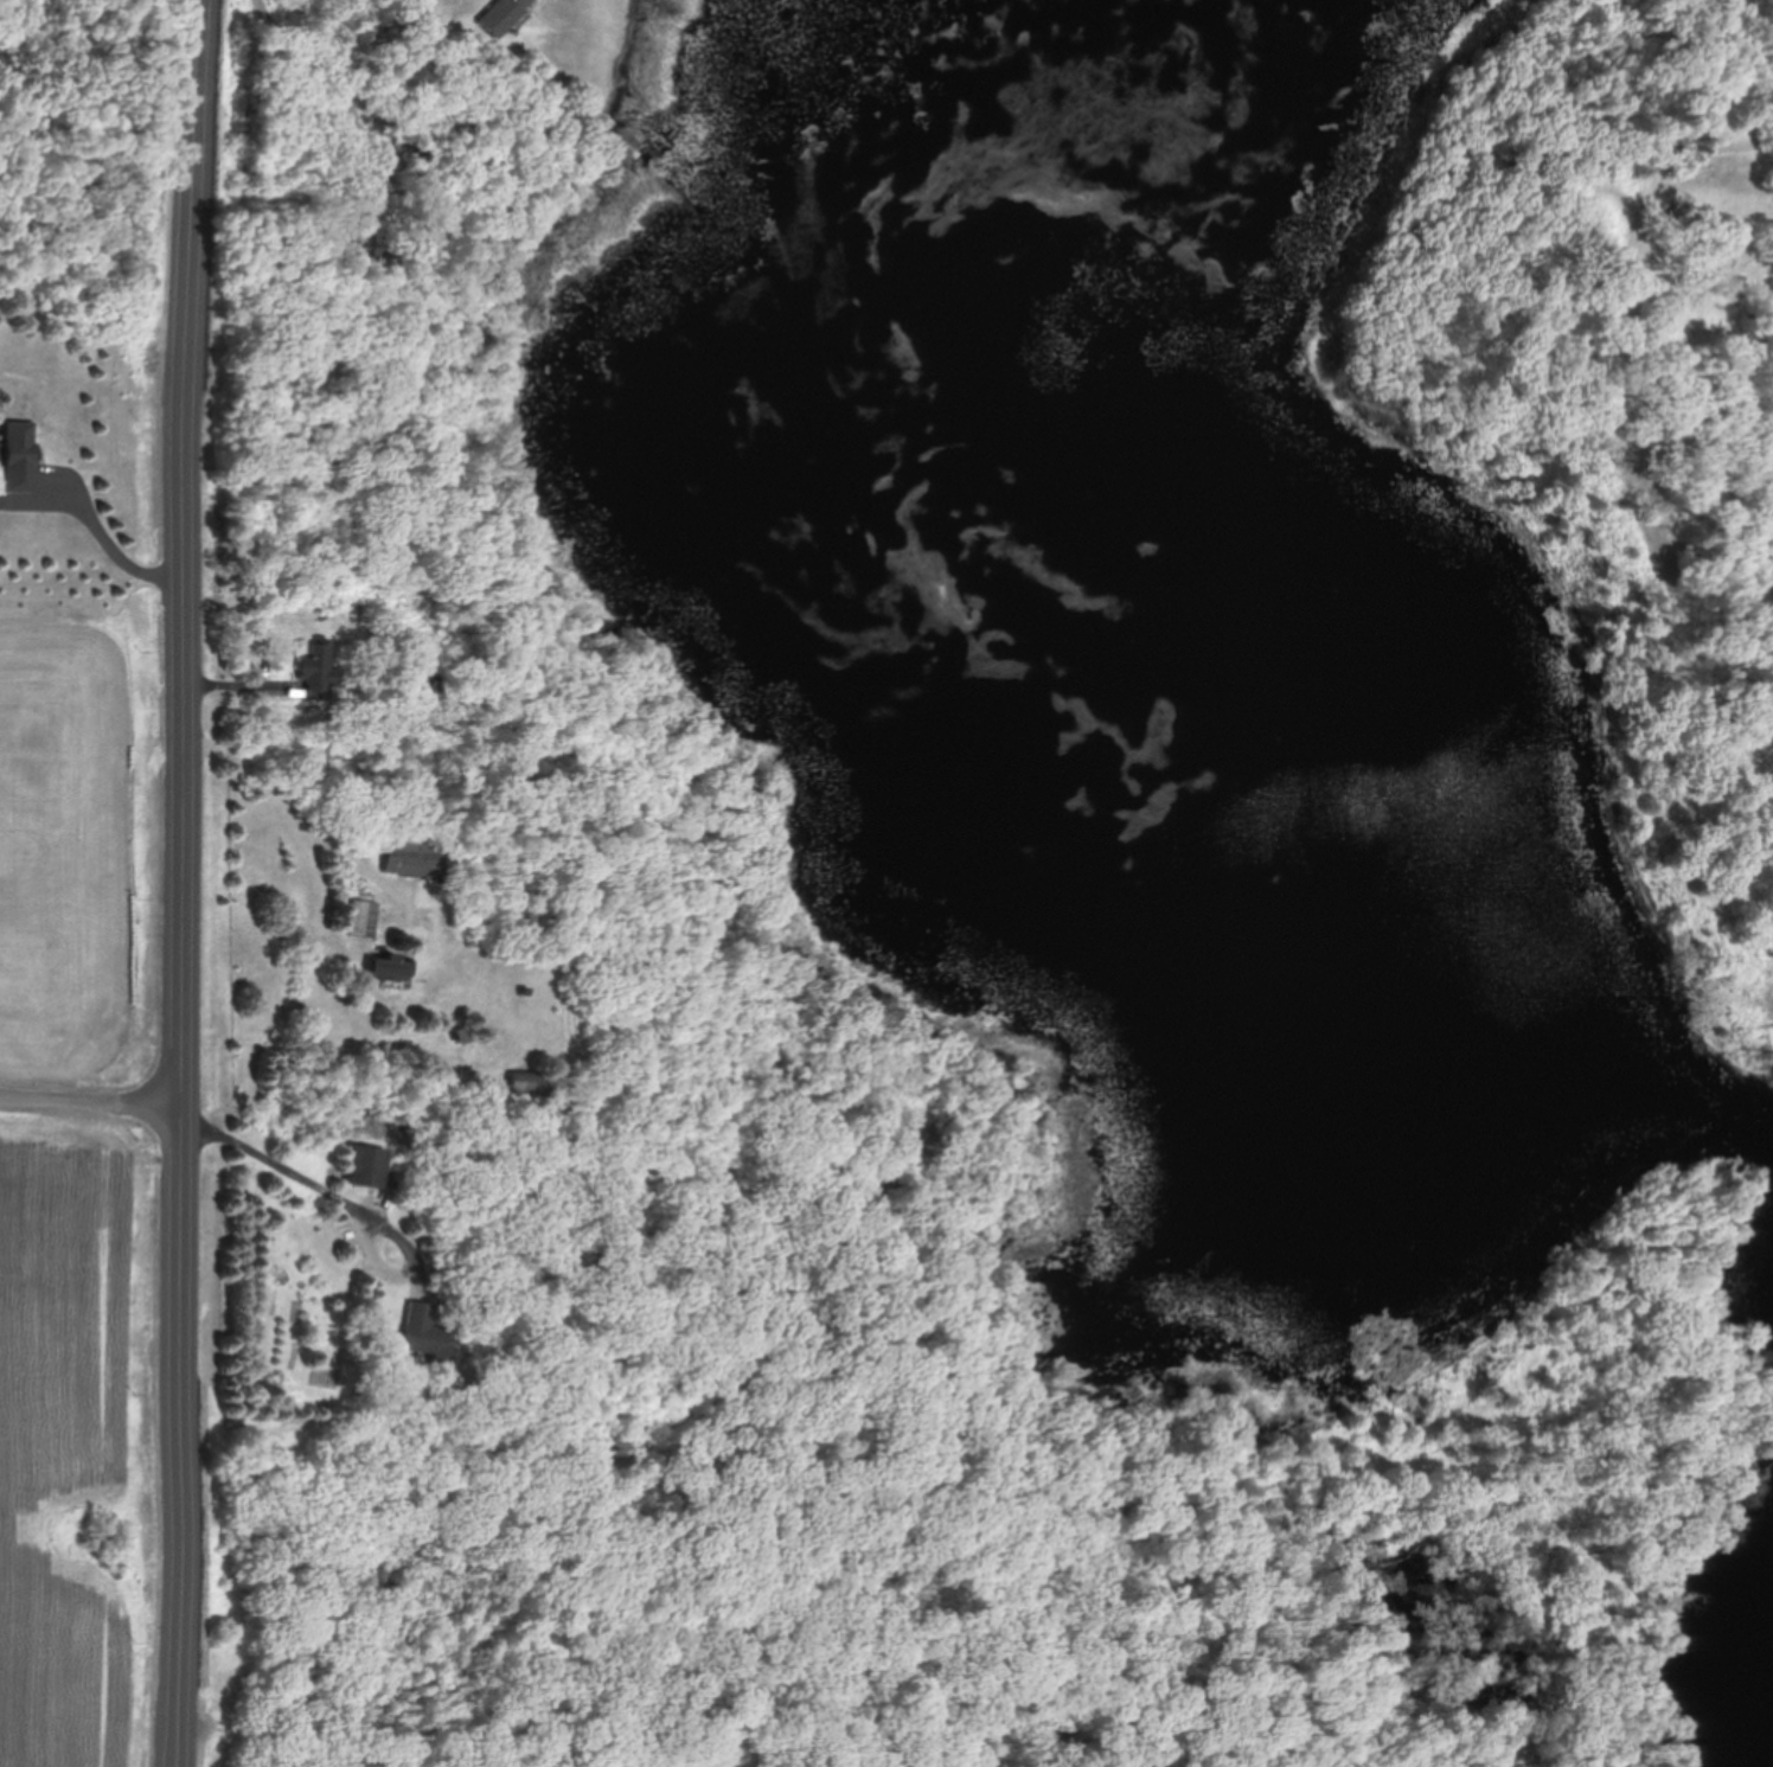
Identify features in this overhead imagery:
building: (505, 14)
road: (337, 94)
building: (371, 238)
building: (23, 454)
building: (520, 507)
road: (108, 542)
building: (316, 666)
building: (427, 687)
road: (305, 827)
building: (411, 858)
road: (184, 883)
building: (365, 917)
building: (388, 967)
building: (527, 1083)
road: (91, 1103)
building: (367, 1166)
road: (280, 1167)
road: (411, 1253)
building: (421, 1330)

